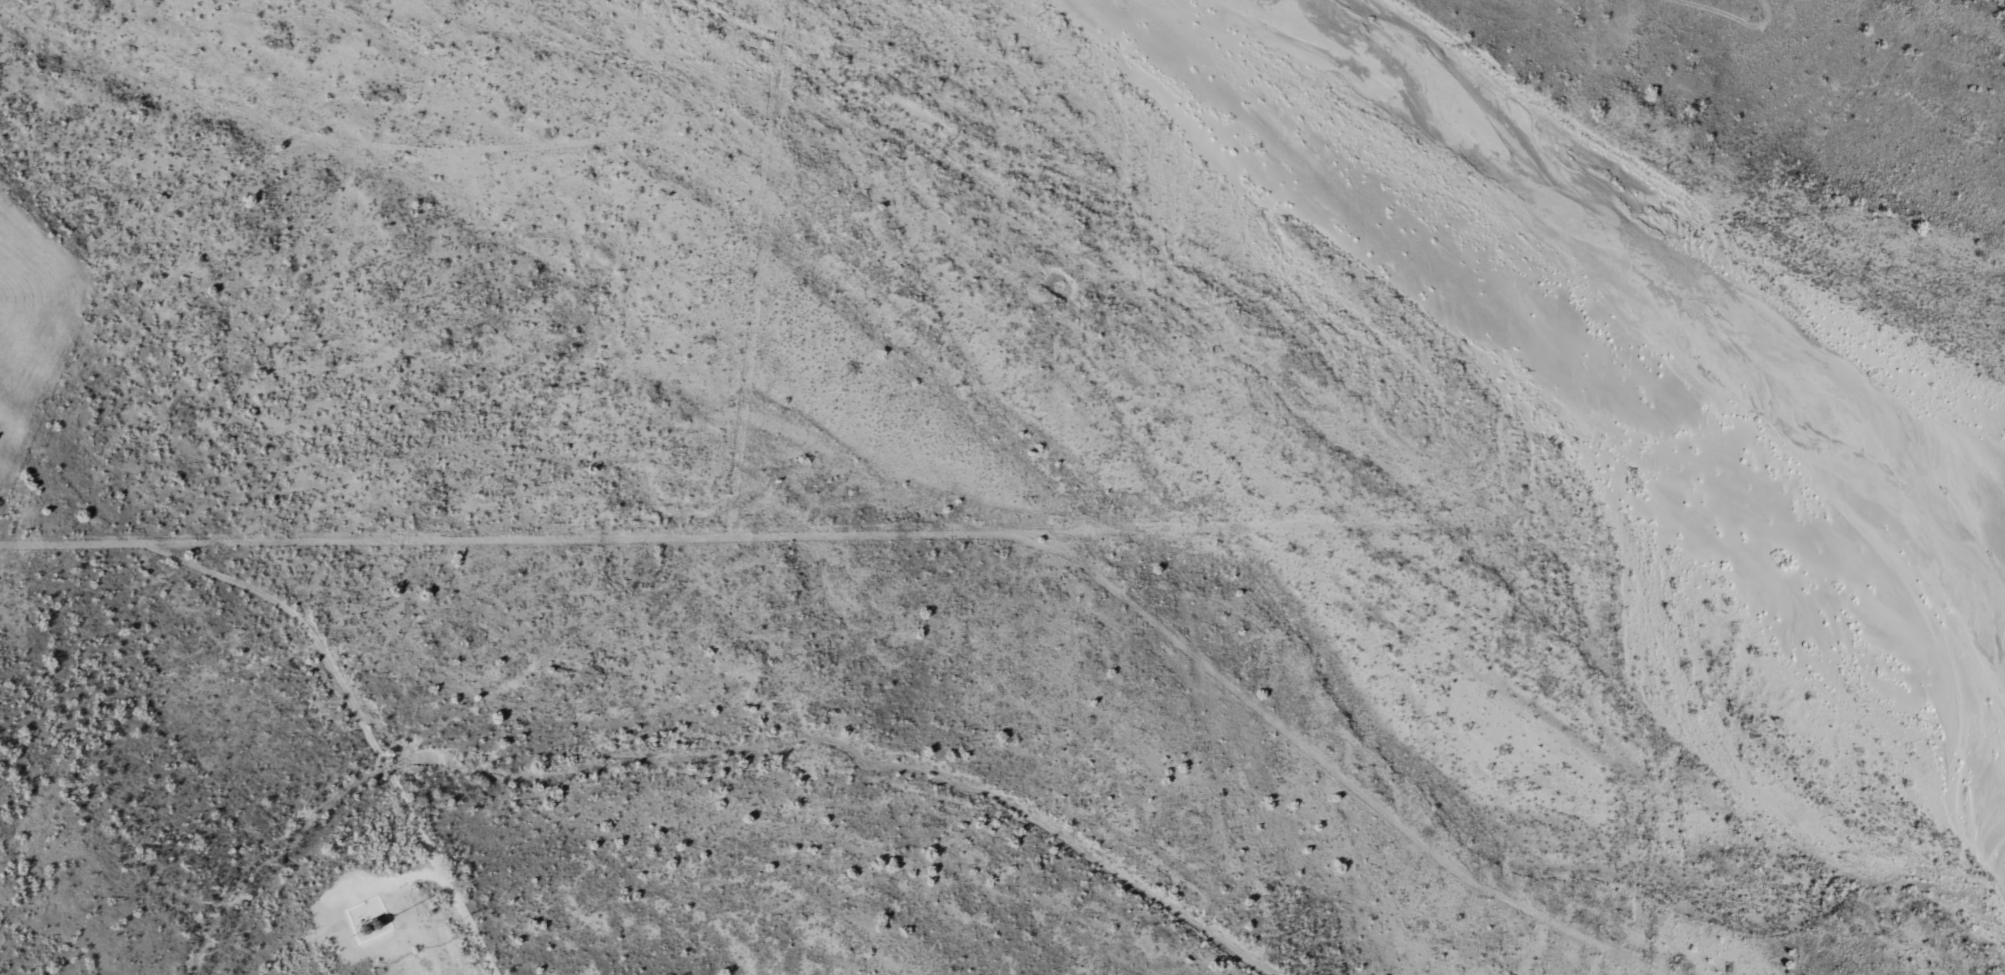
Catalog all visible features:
river: (1693, 294)

